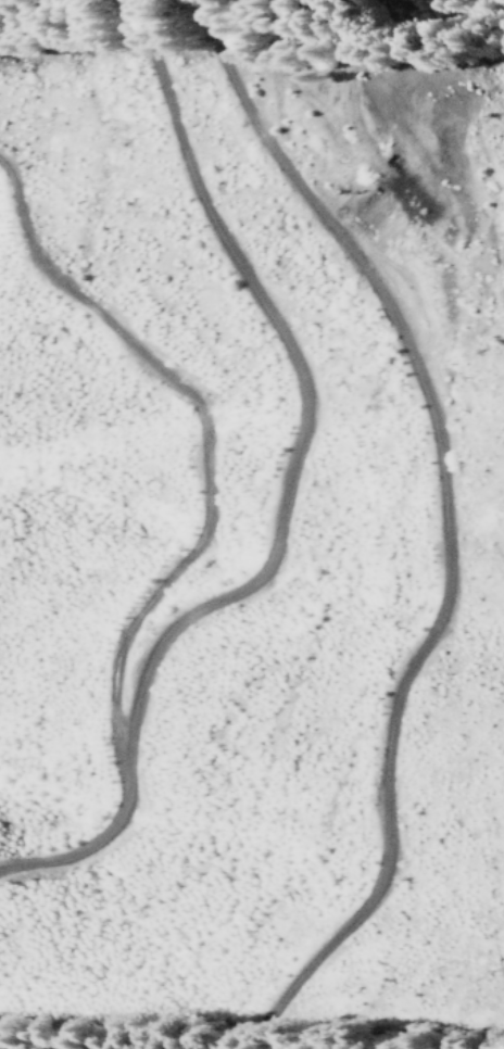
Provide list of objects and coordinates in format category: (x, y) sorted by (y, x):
road: (490, 53)
road: (192, 432)
road: (286, 486)
road: (444, 519)

